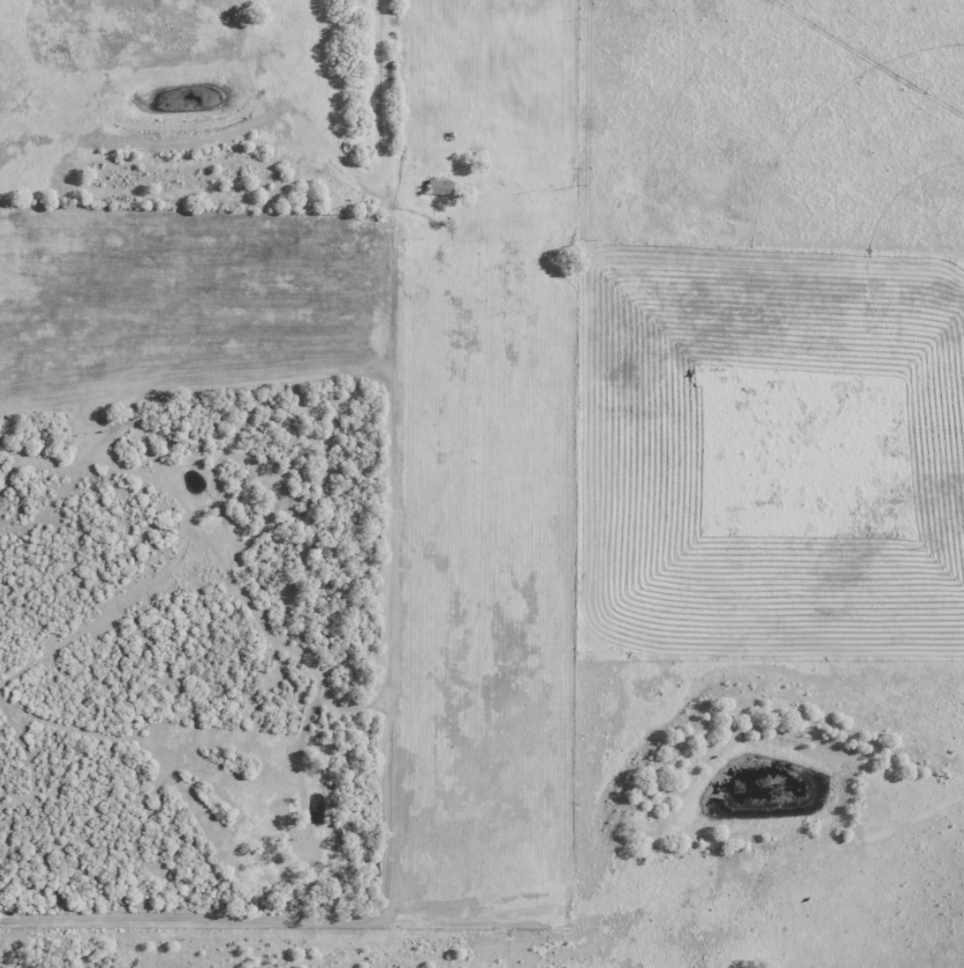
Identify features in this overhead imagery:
road: (565, 146)
building: (438, 188)

